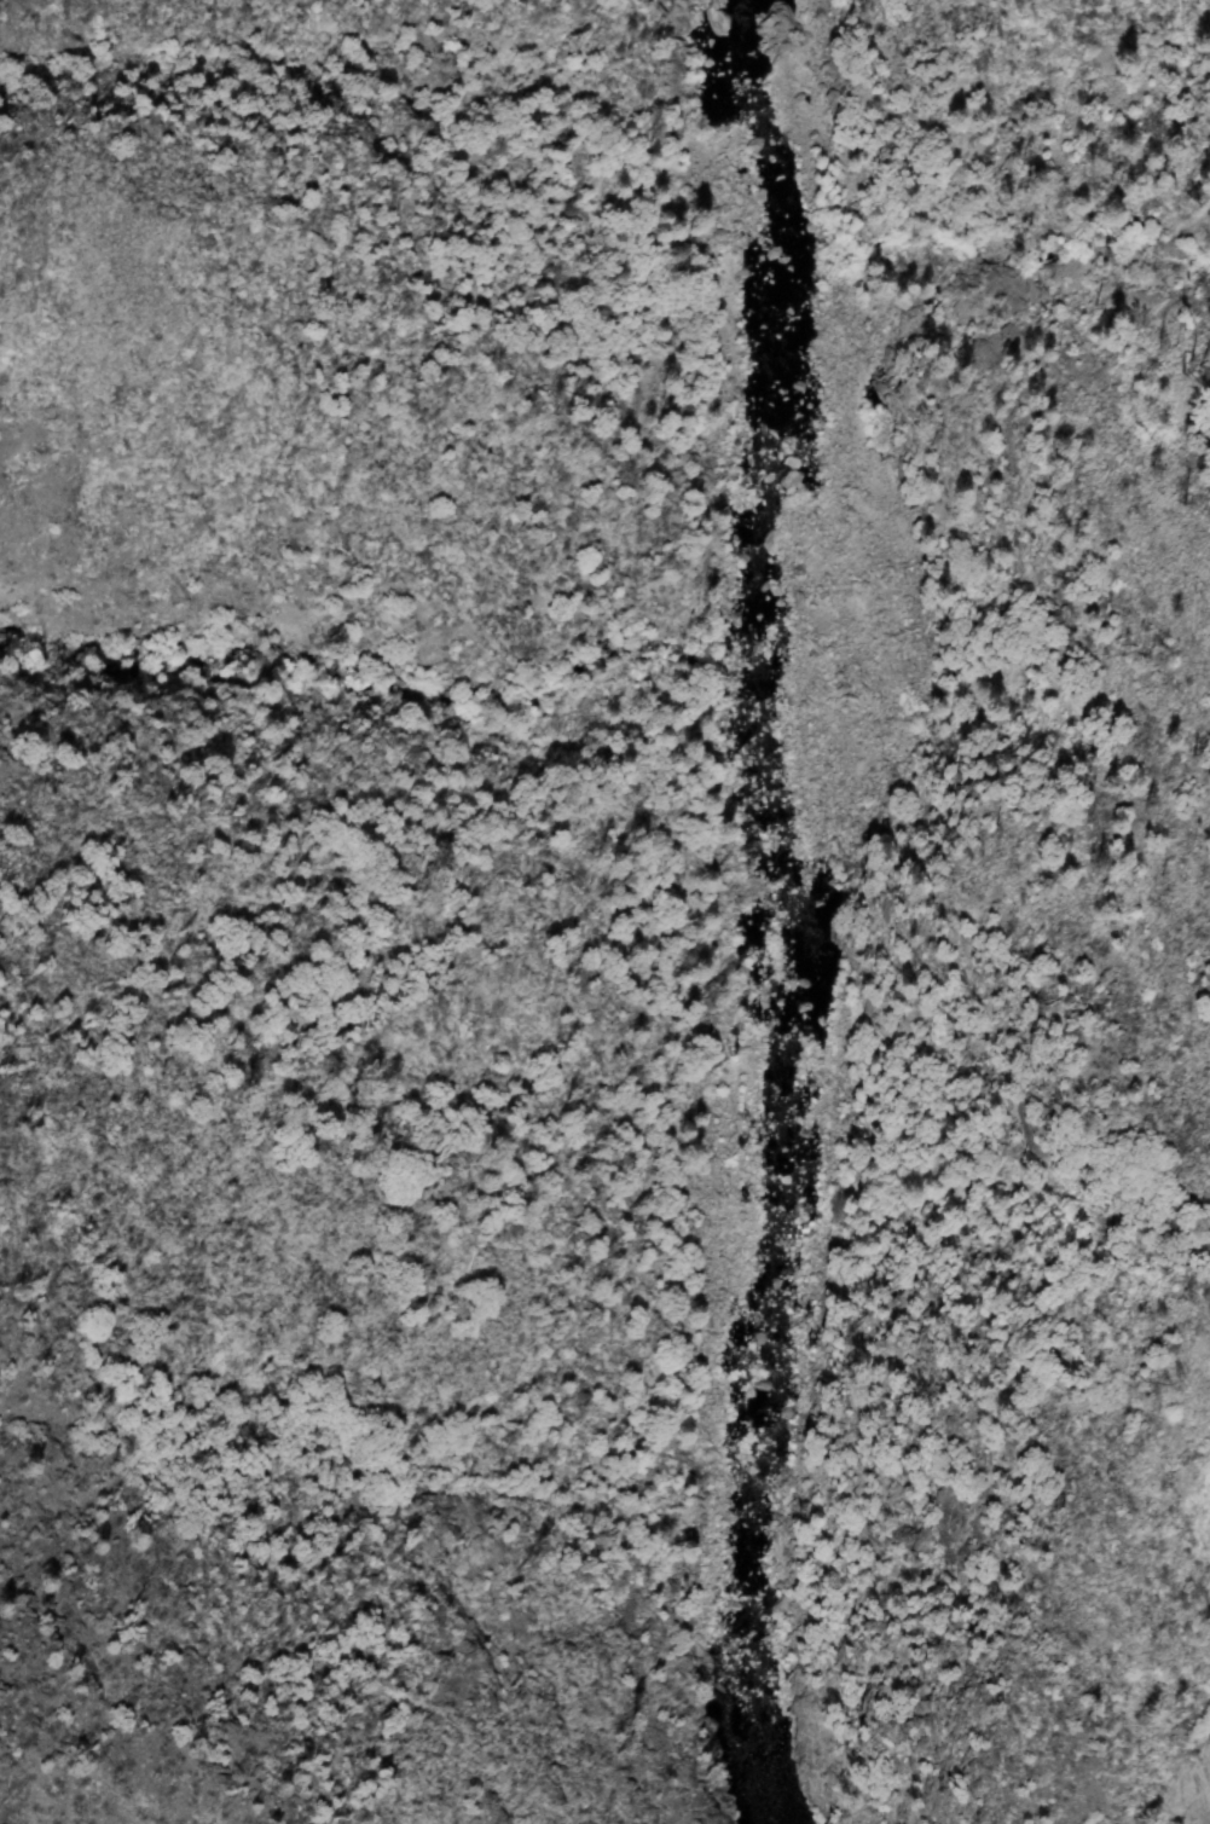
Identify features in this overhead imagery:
river: (798, 911)

